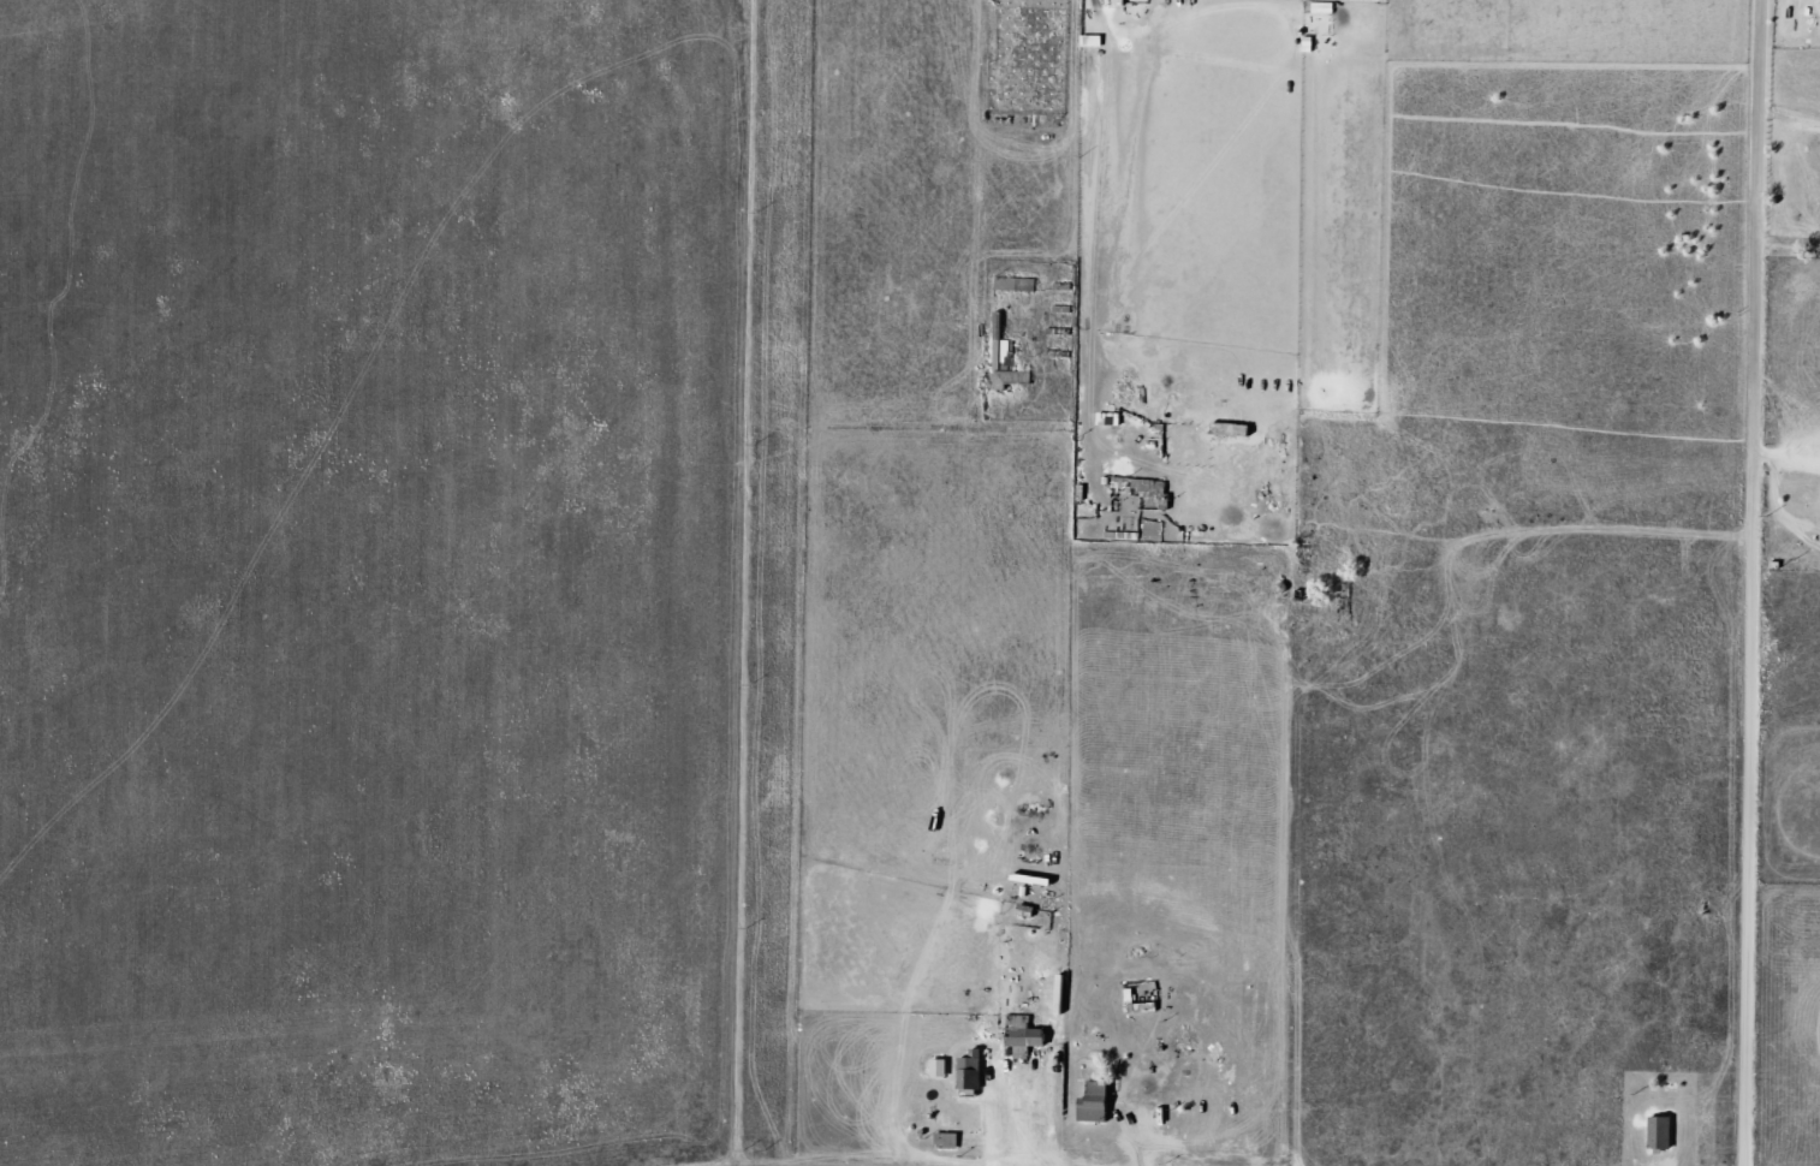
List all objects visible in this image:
building: (1123, 2)
building: (1095, 42)
building: (1010, 367)
road: (1777, 583)
building: (944, 1069)
building: (974, 1072)
building: (1099, 1103)
building: (1664, 1134)
building: (950, 1141)

